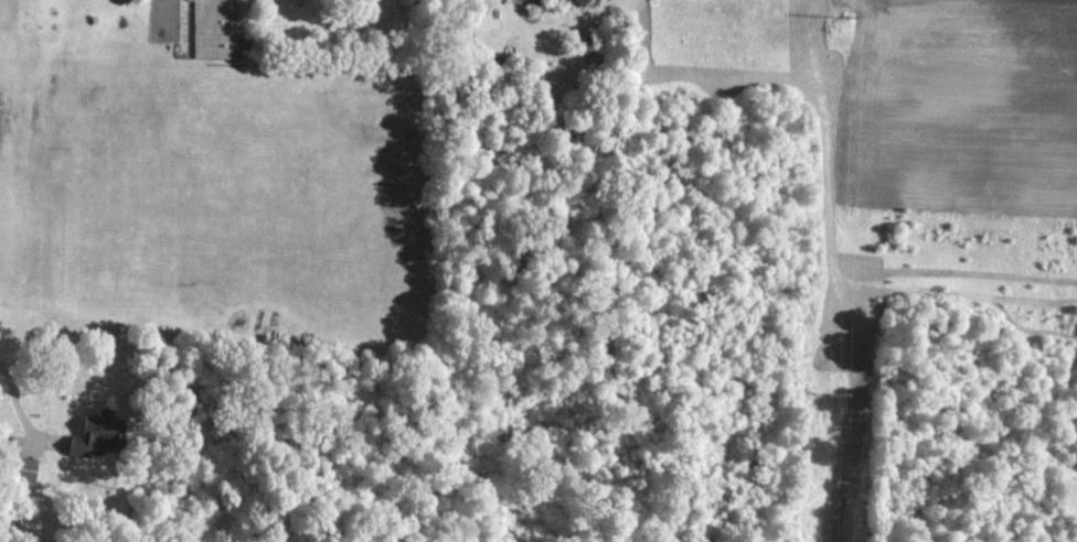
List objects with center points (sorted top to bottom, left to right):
road: (14, 402)
building: (102, 433)

